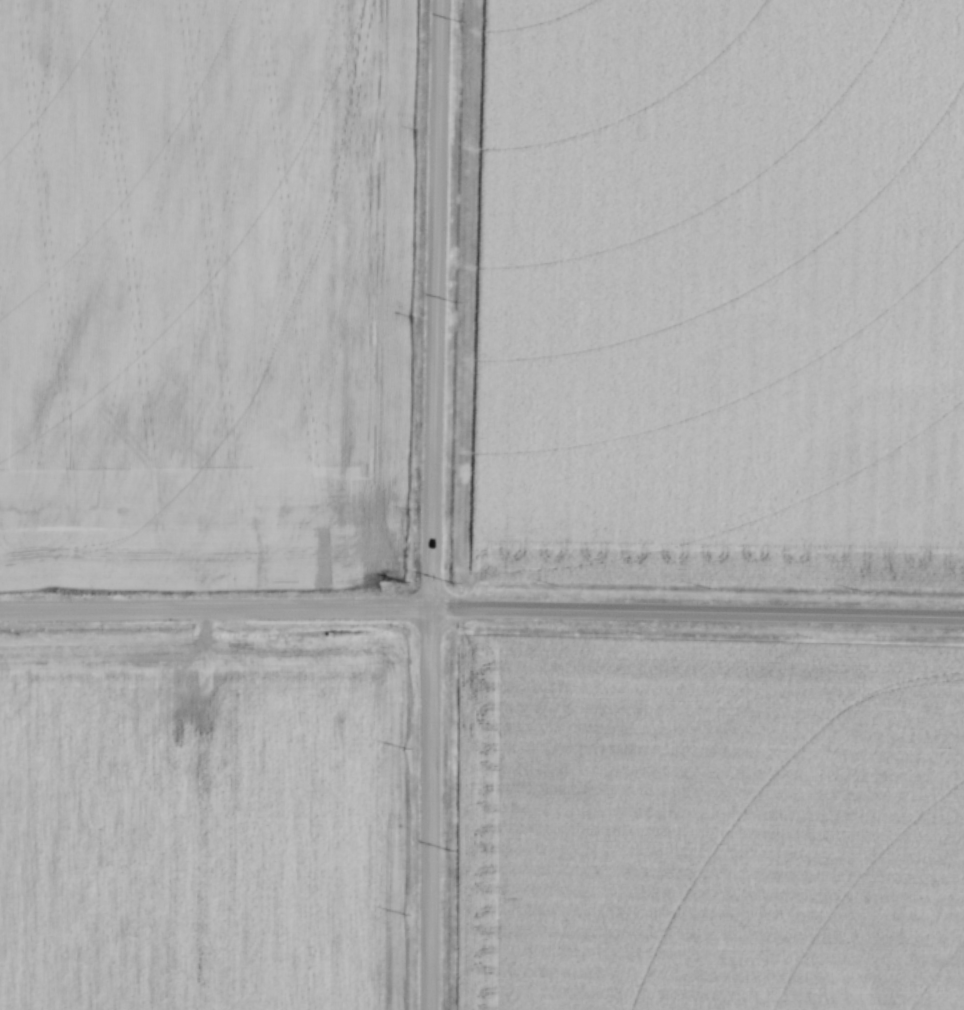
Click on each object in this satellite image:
crop: (719, 290)
road: (441, 297)
road: (219, 598)
road: (701, 600)
building: (229, 652)
building: (311, 655)
road: (436, 802)
crop: (196, 817)
crop: (720, 826)

